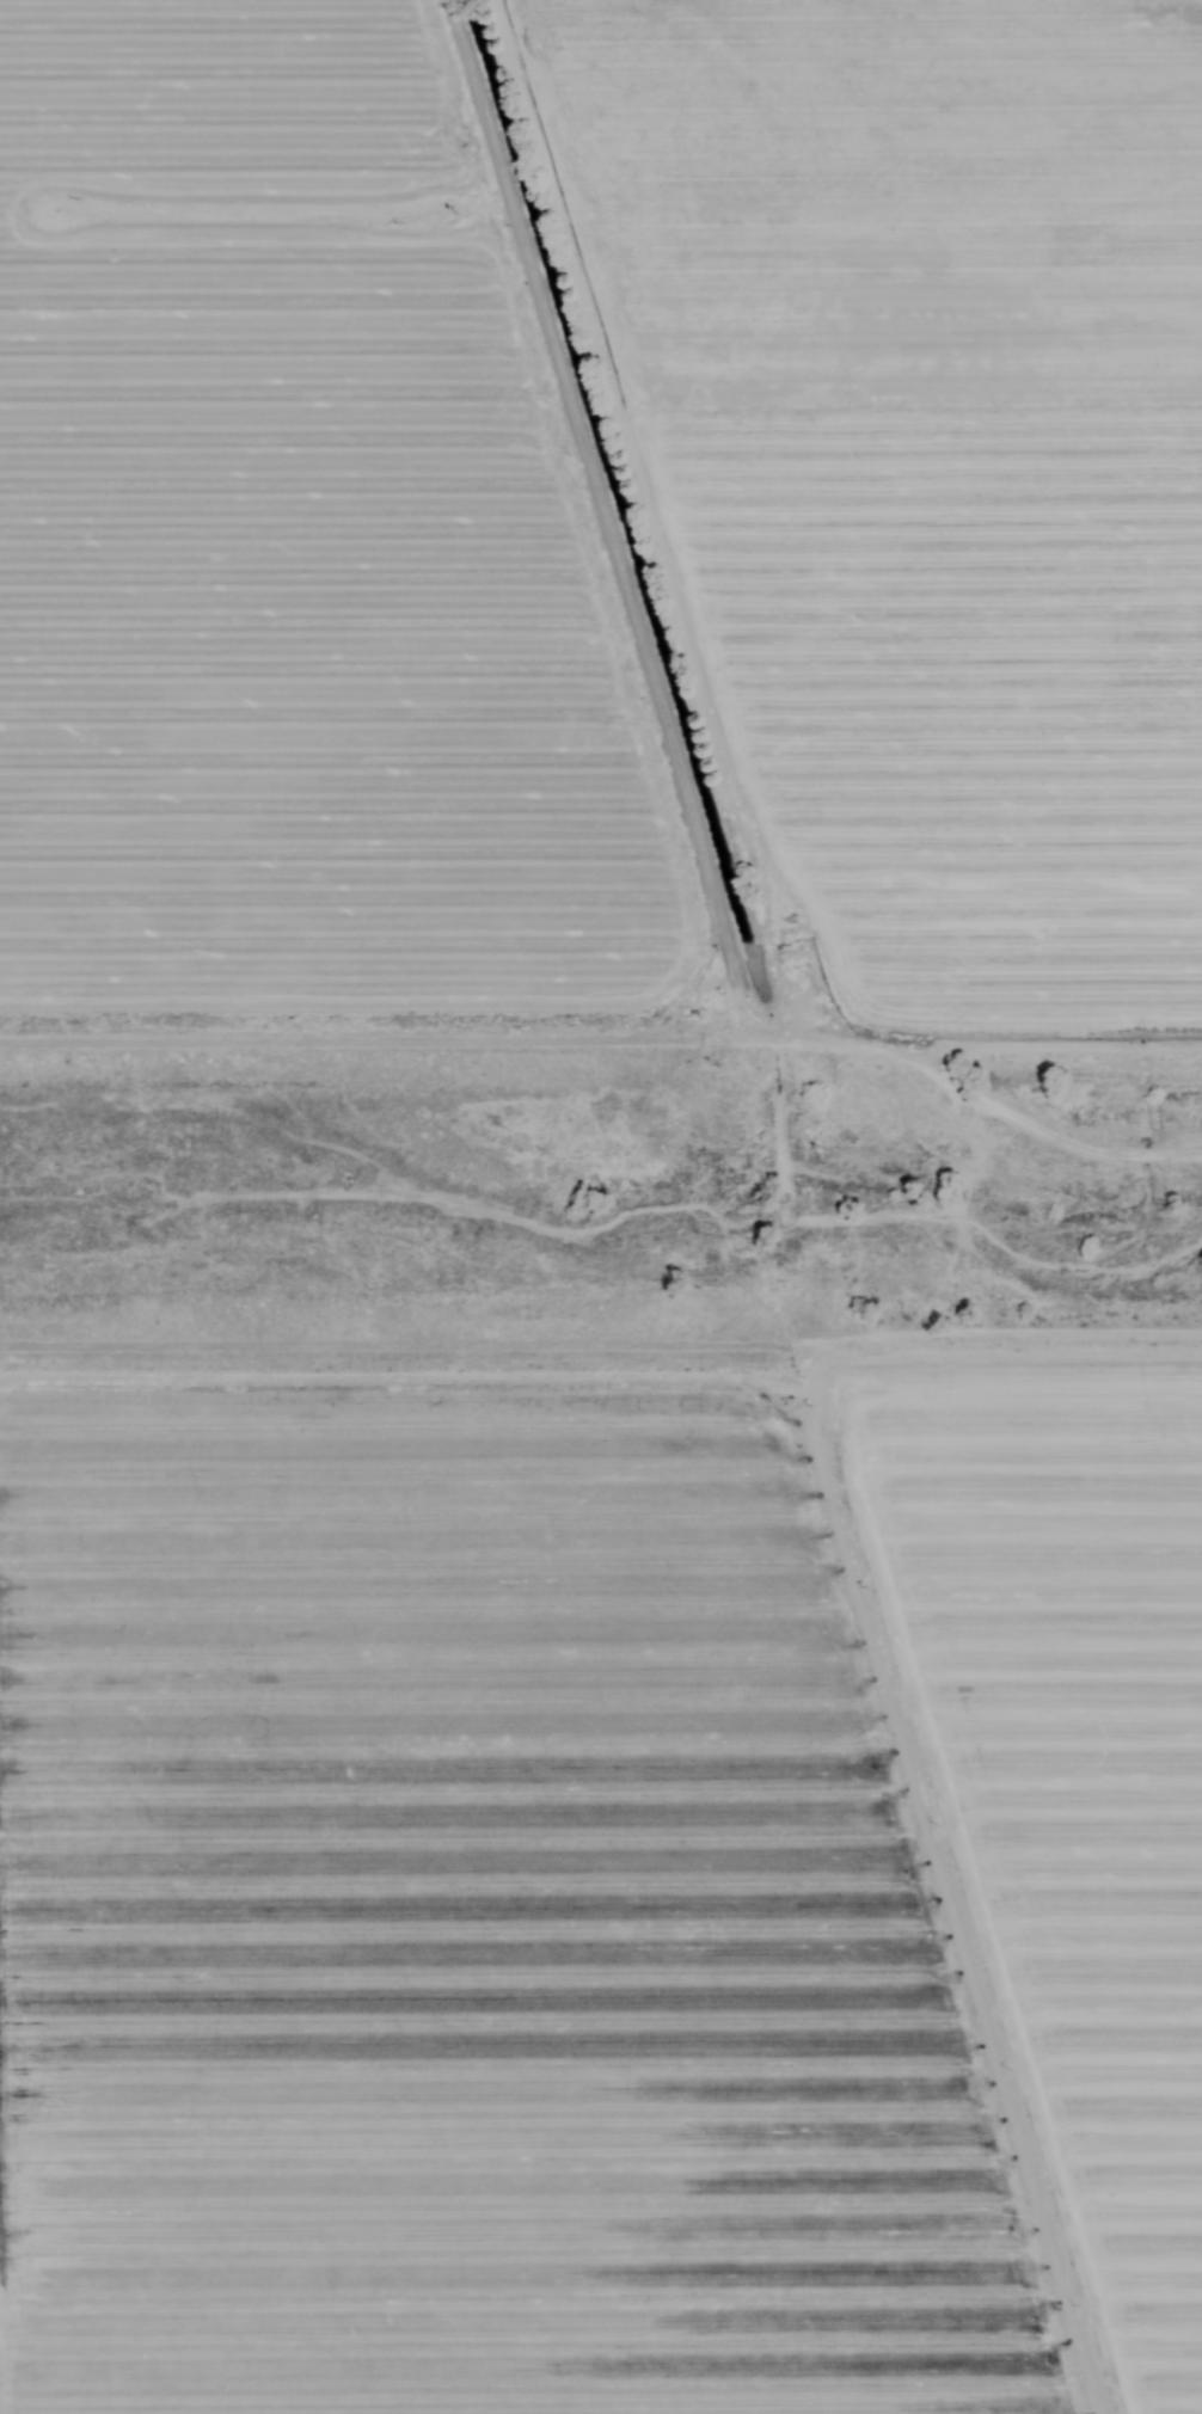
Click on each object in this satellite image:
crop: (601, 520)
road: (765, 1218)
road: (400, 1390)
road: (864, 1407)
road: (1065, 1414)
crop: (602, 1884)

